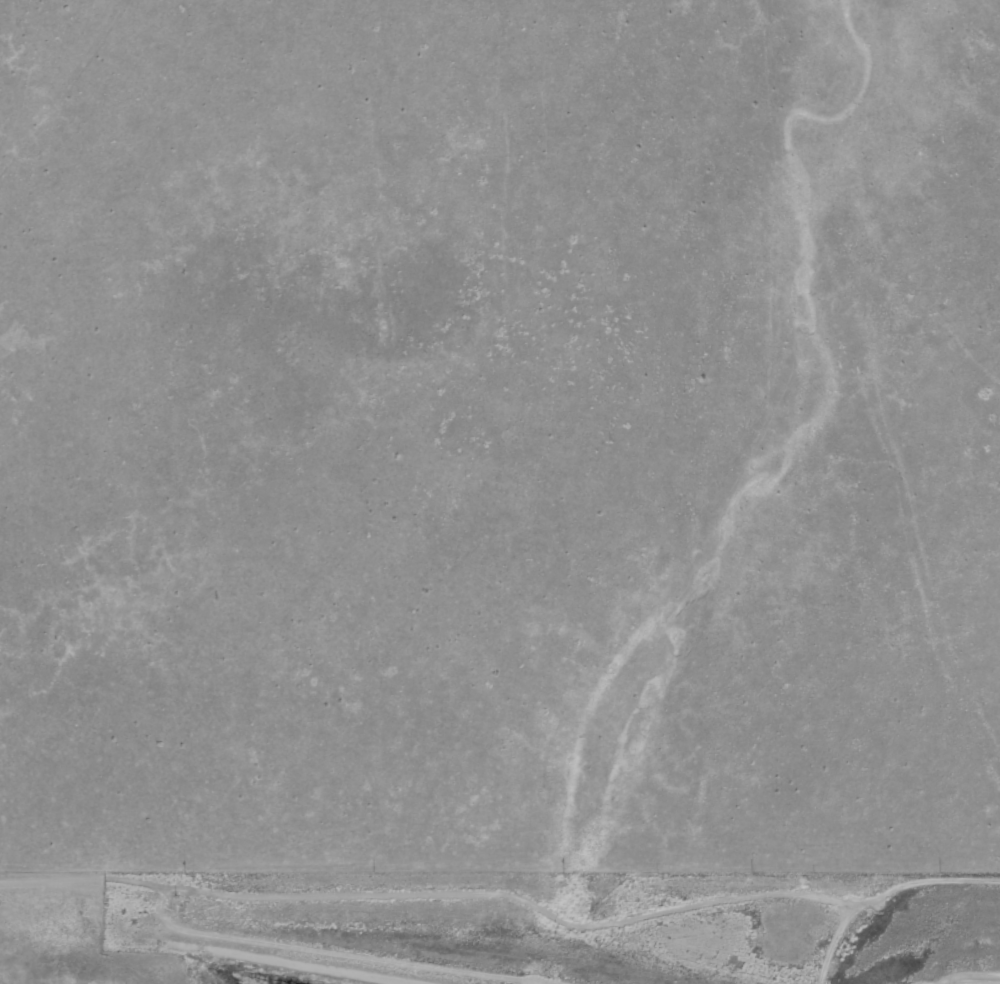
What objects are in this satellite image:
road: (181, 377)
road: (498, 729)
power plant: (500, 927)

